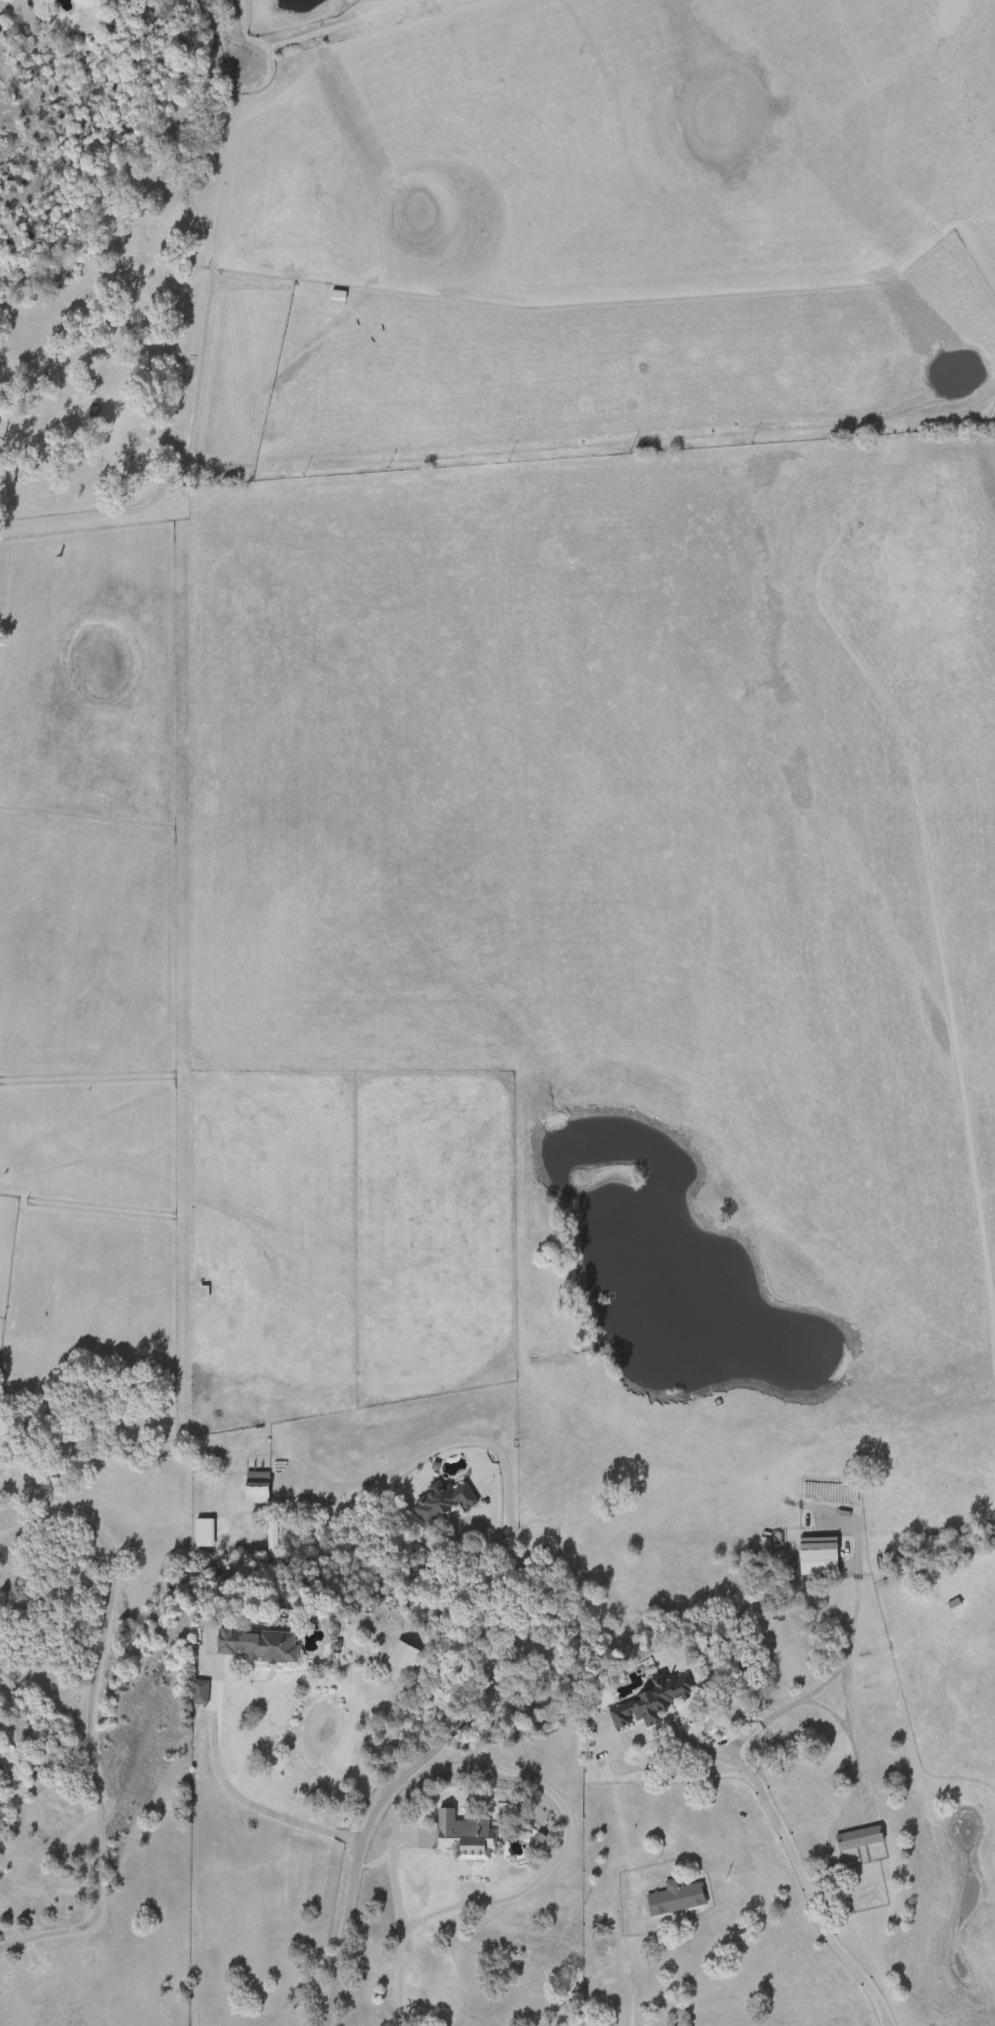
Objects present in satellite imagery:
road: (9, 7)
road: (232, 20)
road: (220, 30)
building: (339, 295)
road: (195, 362)
building: (202, 1291)
building: (259, 1486)
building: (443, 1502)
building: (199, 1532)
road: (452, 1538)
road: (523, 1552)
building: (819, 1555)
building: (268, 1645)
road: (815, 1676)
building: (653, 1701)
road: (100, 1705)
road: (815, 1711)
road: (838, 1732)
road: (215, 1769)
building: (6, 1778)
road: (529, 1779)
road: (350, 1836)
building: (860, 1837)
building: (468, 1839)
road: (804, 1874)
building: (676, 1897)
road: (633, 1924)
road: (341, 1933)
road: (396, 1980)

